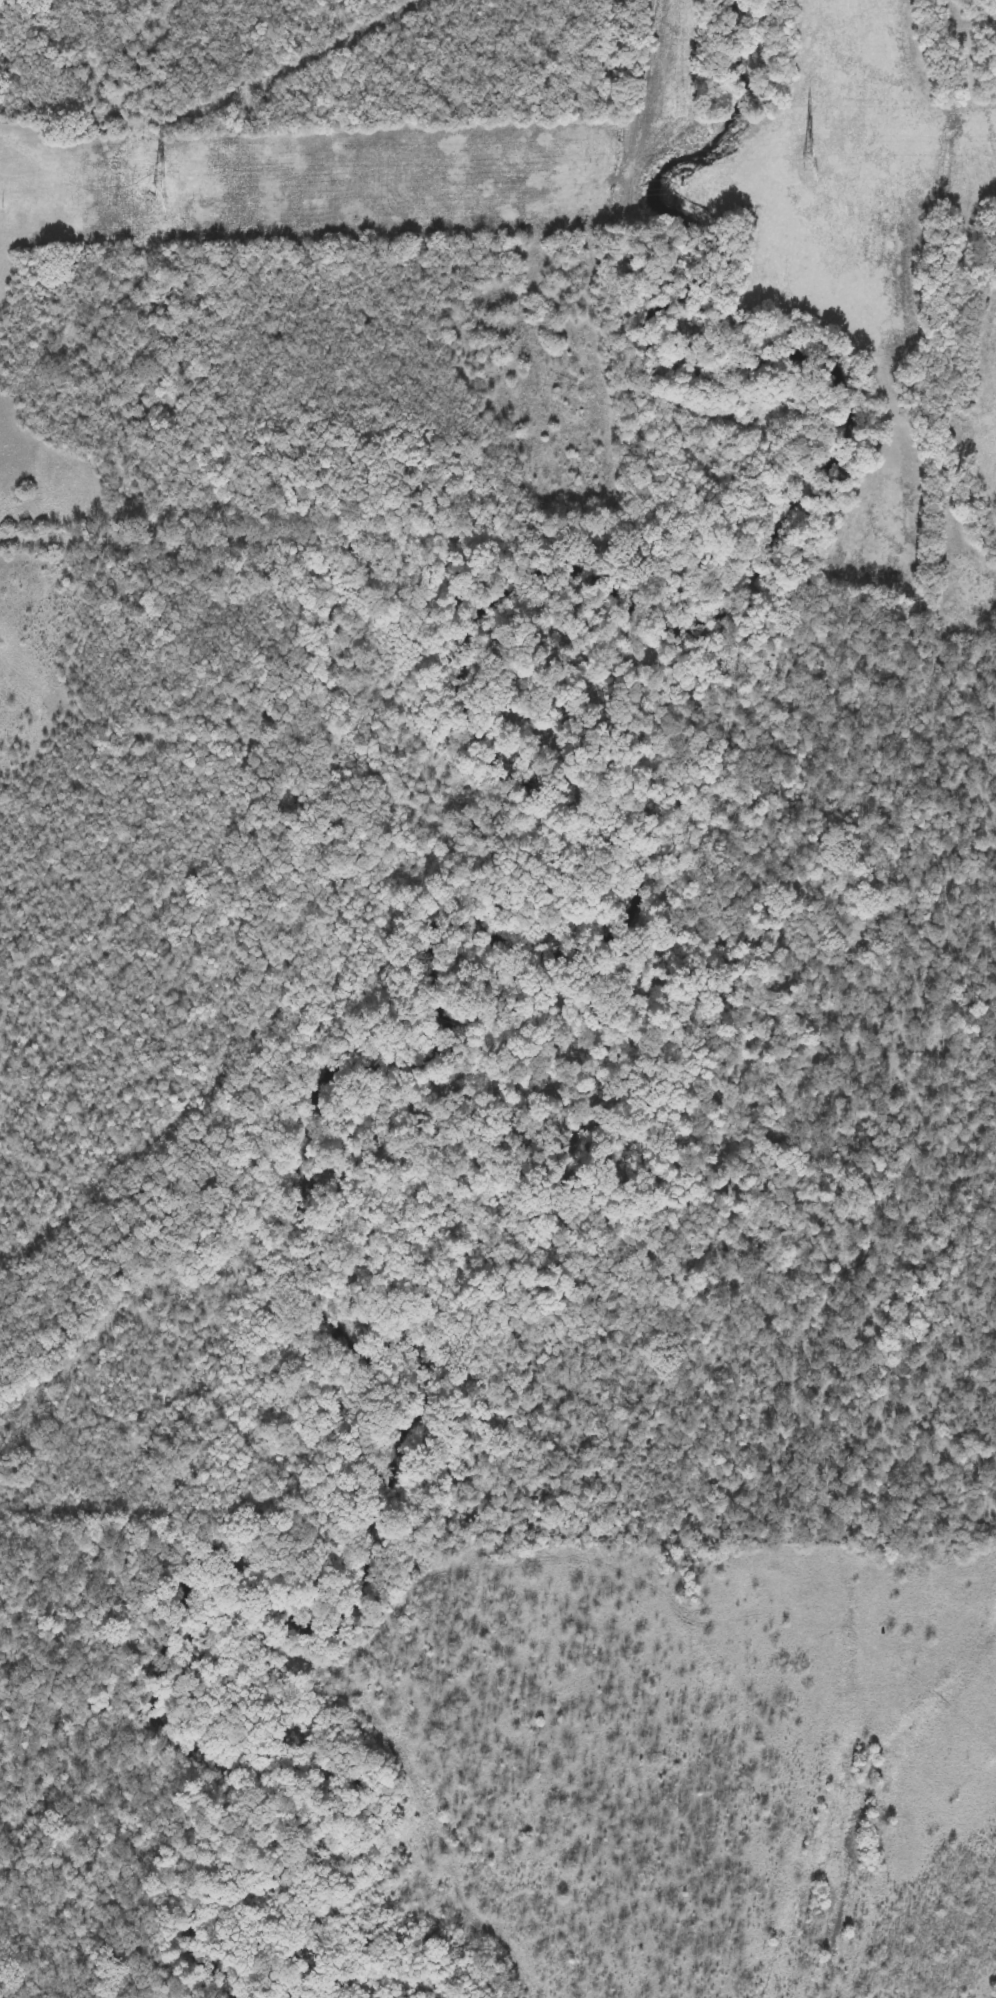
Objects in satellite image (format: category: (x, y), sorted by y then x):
power tower: (810, 163)
power tower: (162, 195)
road: (578, 528)

